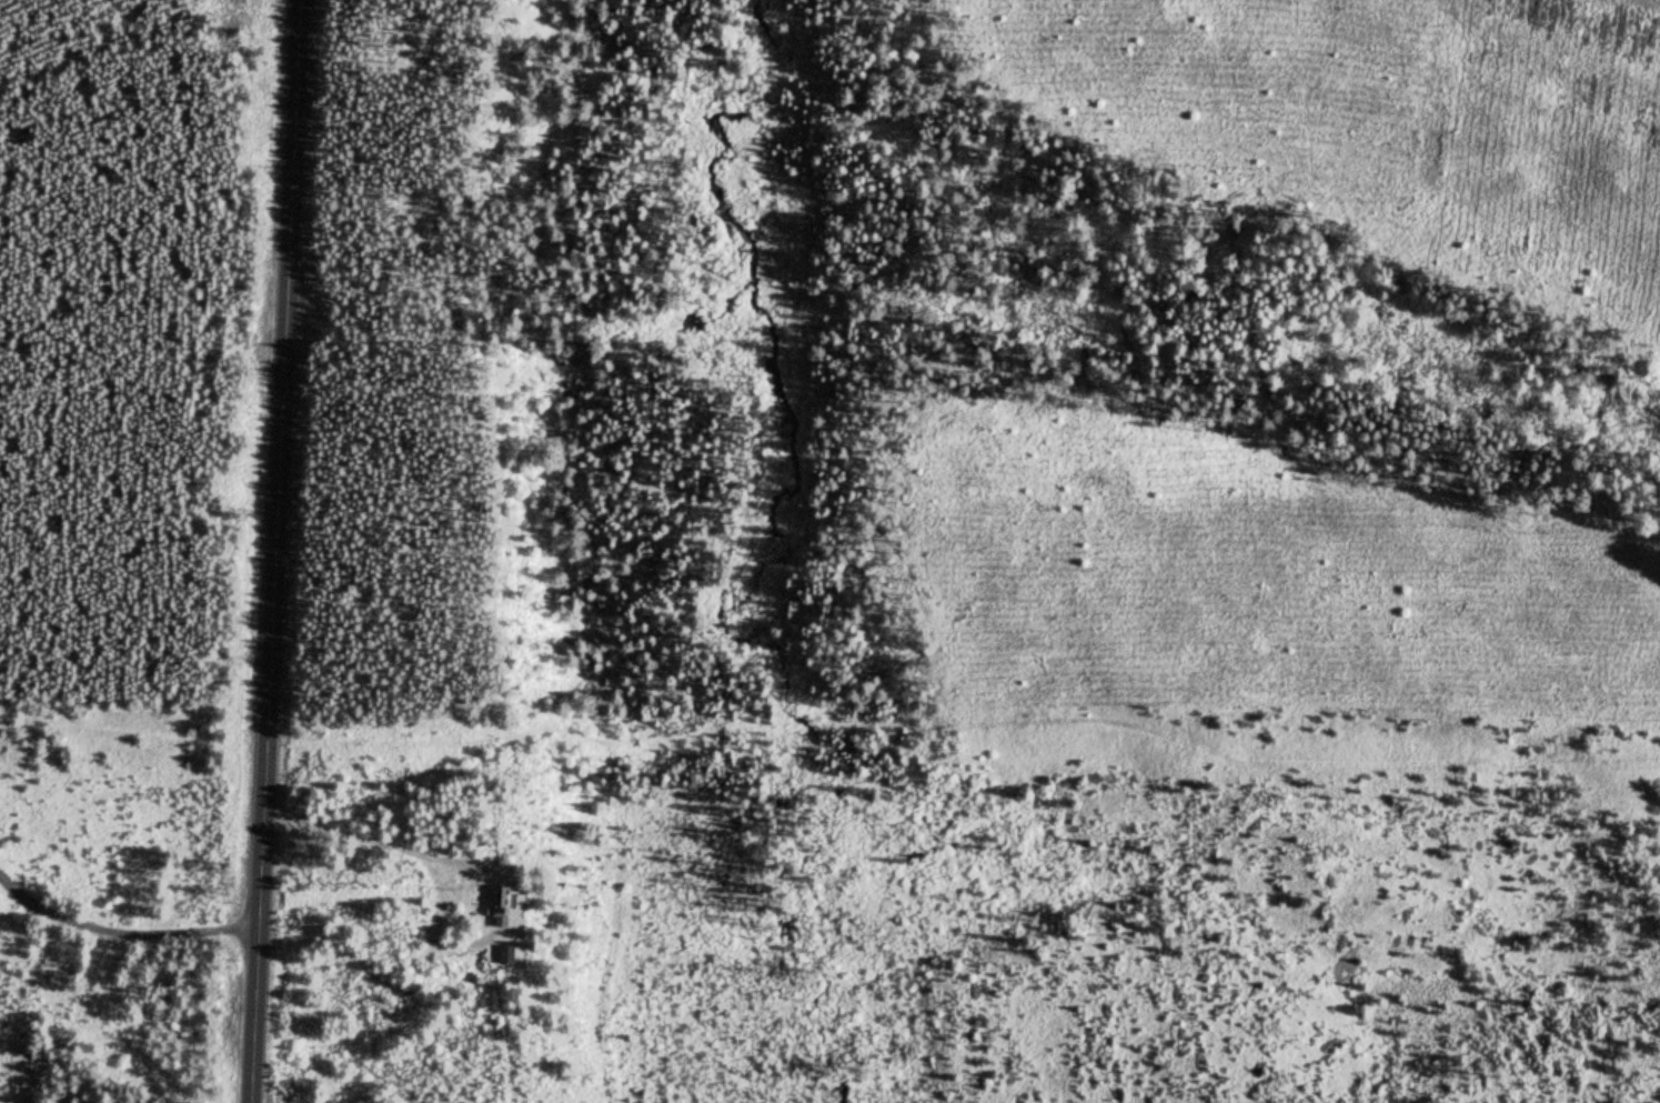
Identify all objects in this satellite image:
road: (273, 551)
road: (965, 715)
road: (122, 896)
building: (494, 908)
building: (499, 953)

